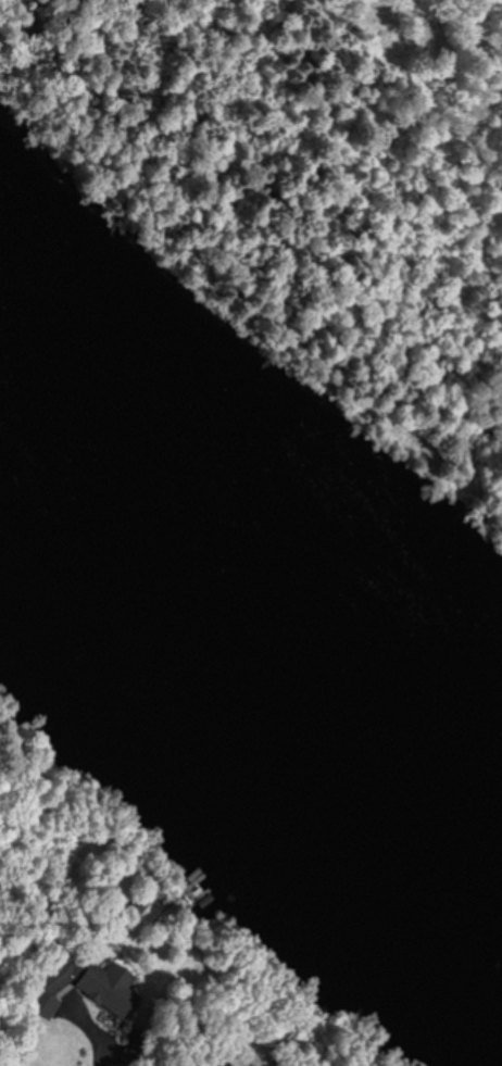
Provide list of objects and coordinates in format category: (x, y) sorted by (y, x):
river: (251, 702)
building: (227, 1065)

